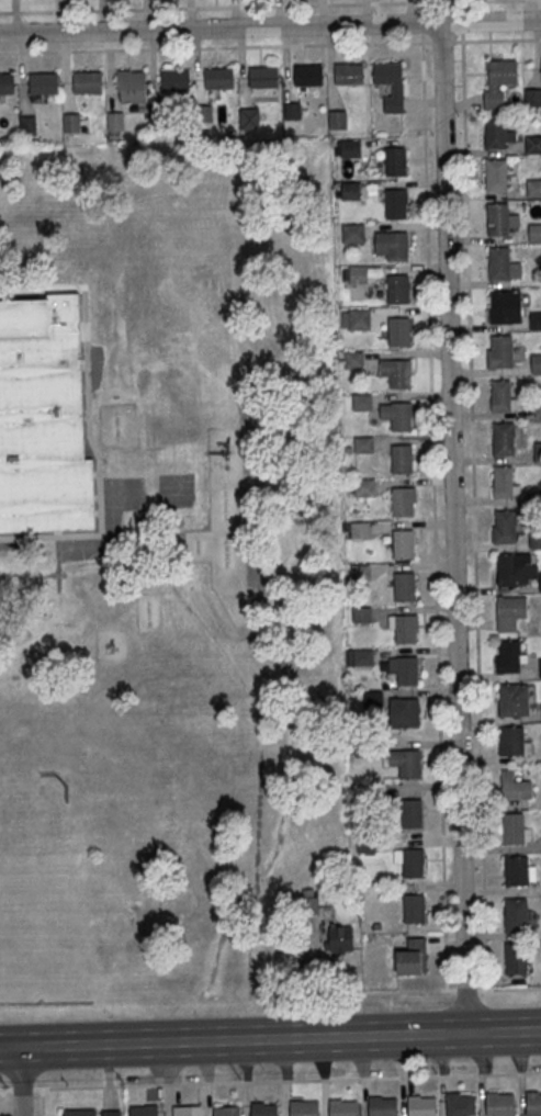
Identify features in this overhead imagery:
road: (267, 5)
road: (270, 26)
road: (270, 46)
building: (504, 71)
building: (388, 75)
building: (350, 76)
building: (309, 77)
building: (264, 78)
building: (221, 79)
building: (177, 81)
building: (132, 82)
building: (89, 83)
building: (7, 84)
building: (44, 84)
building: (532, 97)
building: (293, 112)
building: (205, 114)
building: (250, 117)
building: (160, 121)
building: (339, 121)
building: (117, 122)
building: (74, 123)
building: (29, 126)
building: (496, 133)
building: (533, 145)
building: (352, 148)
building: (395, 160)
building: (497, 177)
building: (533, 189)
building: (352, 192)
building: (396, 202)
building: (498, 221)
building: (354, 234)
building: (534, 234)
building: (392, 244)
building: (503, 266)
building: (360, 277)
building: (398, 289)
building: (507, 309)
building: (361, 320)
building: (536, 322)
building: (399, 330)
building: (503, 352)
building: (354, 360)
building: (537, 364)
building: (399, 372)
building: (503, 397)
building: (363, 404)
building: (538, 408)
building: (43, 416)
building: (401, 416)
building: (504, 440)
building: (364, 446)
building: (538, 453)
building: (402, 458)
building: (503, 480)
building: (365, 488)
building: (536, 498)
building: (403, 500)
road: (433, 509)
road: (474, 515)
building: (504, 526)
road: (452, 528)
building: (361, 531)
building: (403, 543)
building: (507, 570)
building: (362, 573)
building: (540, 584)
building: (404, 586)
building: (510, 611)
building: (362, 616)
building: (405, 627)
building: (509, 655)
building: (364, 658)
building: (406, 669)
building: (374, 699)
building: (514, 699)
building: (406, 713)
building: (512, 742)
building: (368, 747)
building: (409, 764)
building: (514, 786)
building: (376, 792)
building: (413, 814)
building: (511, 827)
building: (368, 844)
building: (413, 861)
building: (516, 869)
building: (311, 905)
building: (415, 908)
building: (517, 913)
building: (339, 938)
building: (413, 957)
building: (515, 957)
road: (441, 989)
road: (270, 1039)
road: (21, 1081)
road: (279, 1082)
road: (4, 1089)
road: (2, 1102)
building: (533, 1103)
building: (499, 1104)
building: (420, 1105)
building: (461, 1105)
building: (382, 1106)
building: (341, 1107)
building: (302, 1108)
building: (144, 1109)
building: (187, 1109)
building: (263, 1109)
building: (227, 1111)
building: (79, 1112)
building: (111, 1112)

